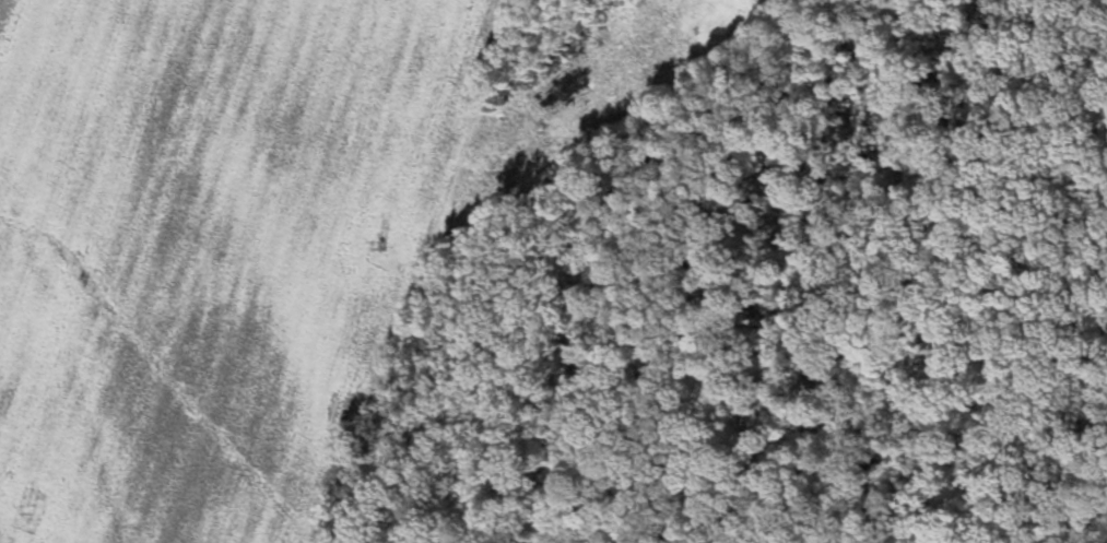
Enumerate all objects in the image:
road: (1, 3)
road: (71, 345)

